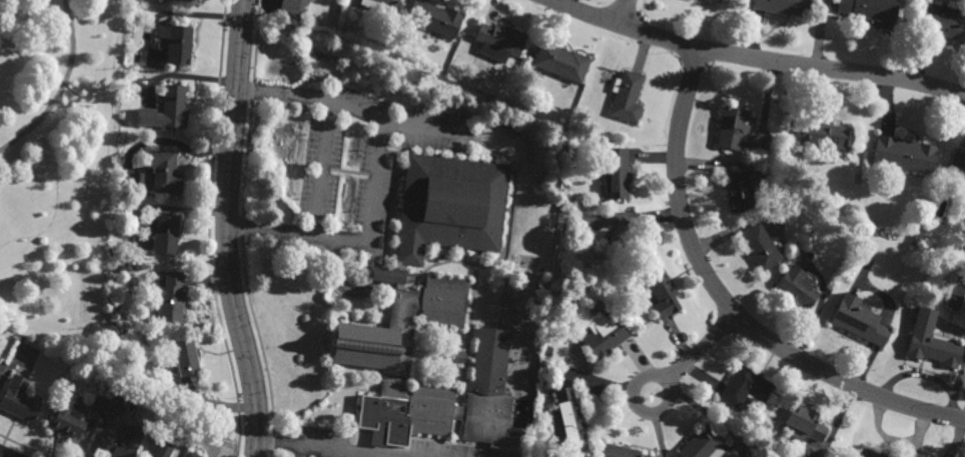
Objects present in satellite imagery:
building: (184, 0)
building: (716, 1)
building: (291, 4)
building: (370, 6)
building: (784, 6)
building: (870, 10)
road: (624, 12)
building: (436, 18)
building: (943, 21)
building: (499, 42)
building: (179, 45)
road: (756, 59)
building: (561, 62)
road: (62, 86)
building: (626, 96)
building: (173, 107)
road: (421, 127)
building: (734, 127)
building: (824, 139)
building: (903, 154)
parking lot: (367, 157)
park: (53, 165)
building: (957, 165)
road: (322, 168)
road: (51, 173)
building: (160, 173)
building: (614, 173)
road: (375, 175)
building: (738, 192)
building: (963, 192)
building: (609, 226)
road: (509, 227)
road: (226, 229)
building: (163, 233)
building: (792, 238)
building: (760, 247)
building: (798, 288)
road: (359, 292)
building: (662, 295)
building: (173, 300)
building: (438, 303)
road: (725, 304)
building: (857, 322)
road: (469, 331)
building: (603, 334)
building: (115, 339)
building: (930, 343)
road: (701, 348)
road: (416, 352)
building: (547, 352)
building: (115, 361)
building: (185, 362)
building: (746, 388)
building: (19, 400)
building: (100, 405)
road: (664, 406)
building: (569, 416)
building: (804, 424)
building: (68, 426)
building: (516, 437)
parking lot: (322, 441)
building: (123, 442)
building: (703, 445)
road: (325, 448)
parking lot: (453, 450)
road: (301, 451)
building: (619, 452)
road: (4, 454)
building: (868, 454)
building: (909, 455)
building: (156, 456)
building: (192, 456)

